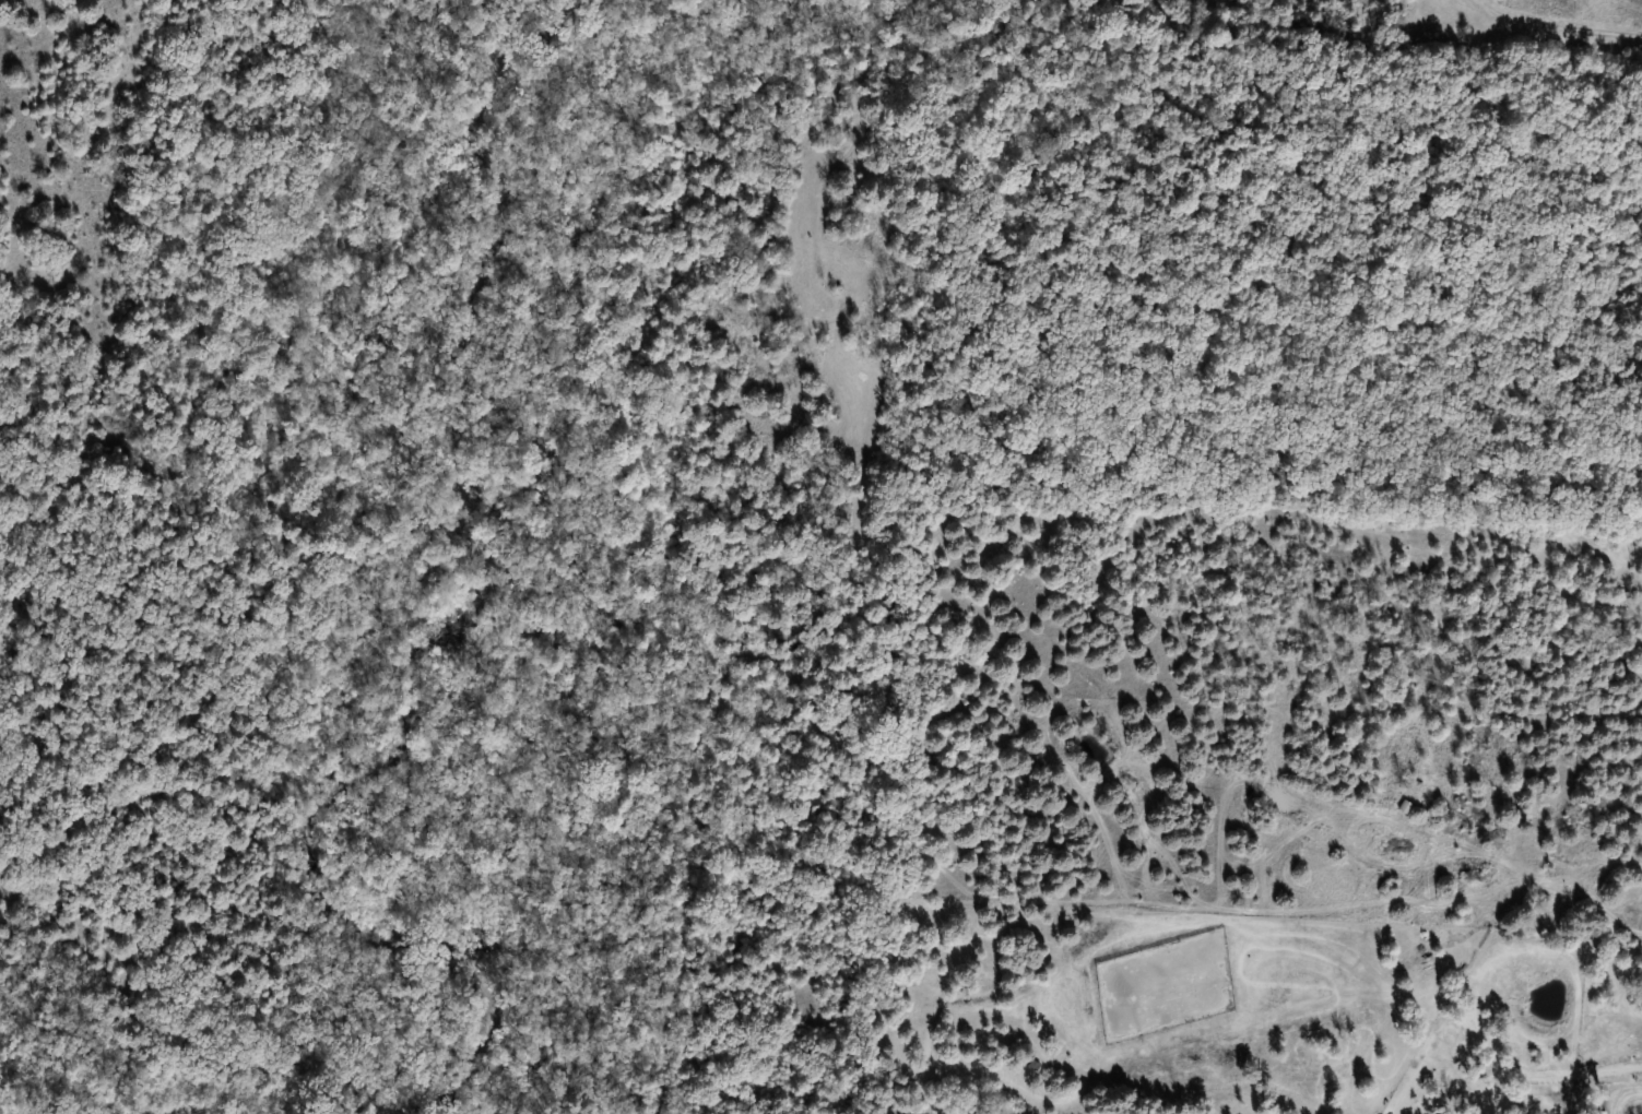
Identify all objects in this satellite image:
road: (1559, 27)

